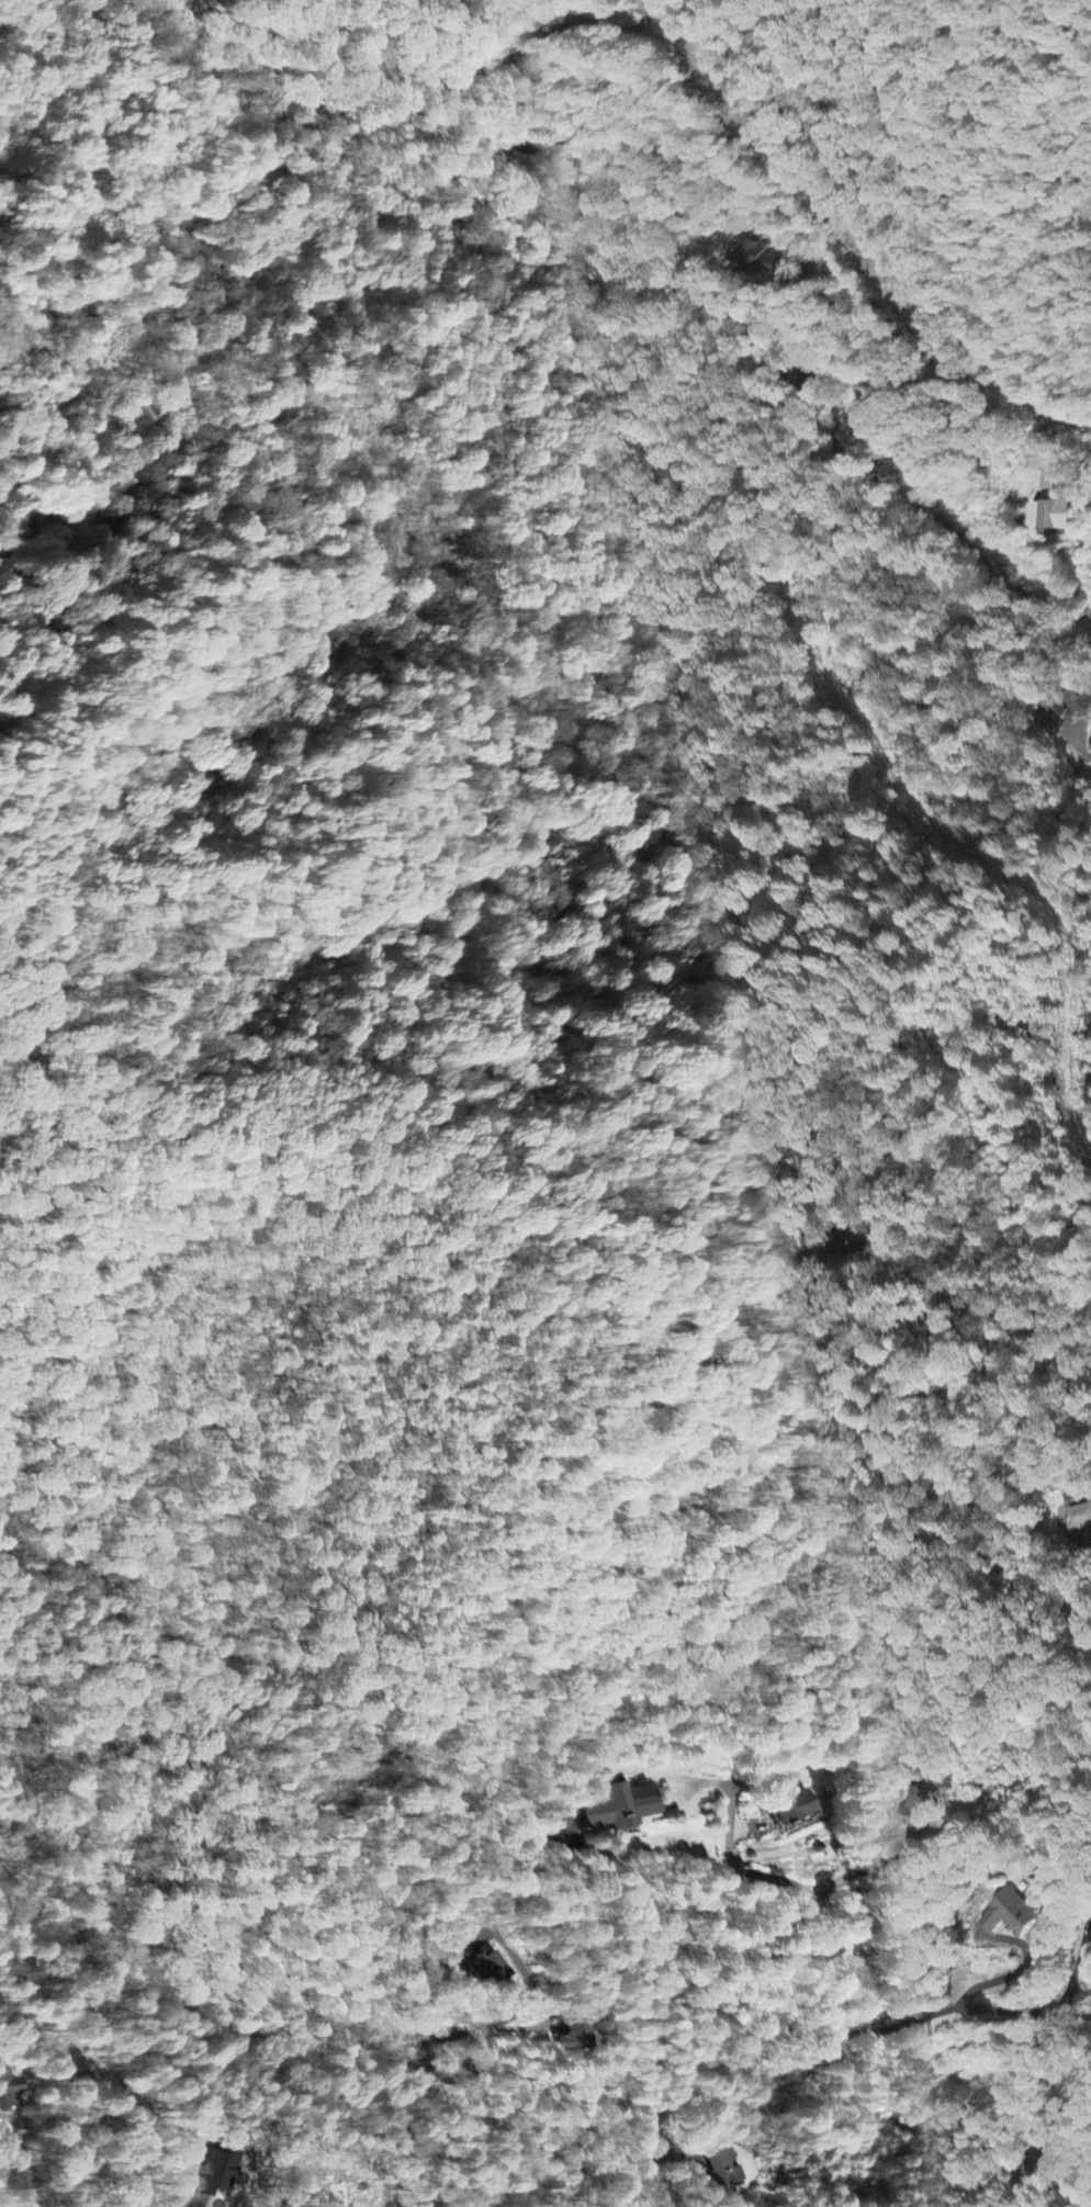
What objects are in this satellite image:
road: (700, 165)
road: (561, 373)
building: (870, 416)
building: (1057, 518)
road: (1011, 644)
road: (1082, 1601)
building: (621, 1806)
building: (791, 1808)
road: (858, 1869)
road: (802, 1913)
building: (1010, 1915)
building: (486, 1970)
road: (663, 2012)
road: (447, 2036)
building: (574, 2036)
road: (86, 2081)
building: (10, 2086)
road: (1031, 2141)
building: (222, 2171)
building: (721, 2172)
road: (1002, 2175)

